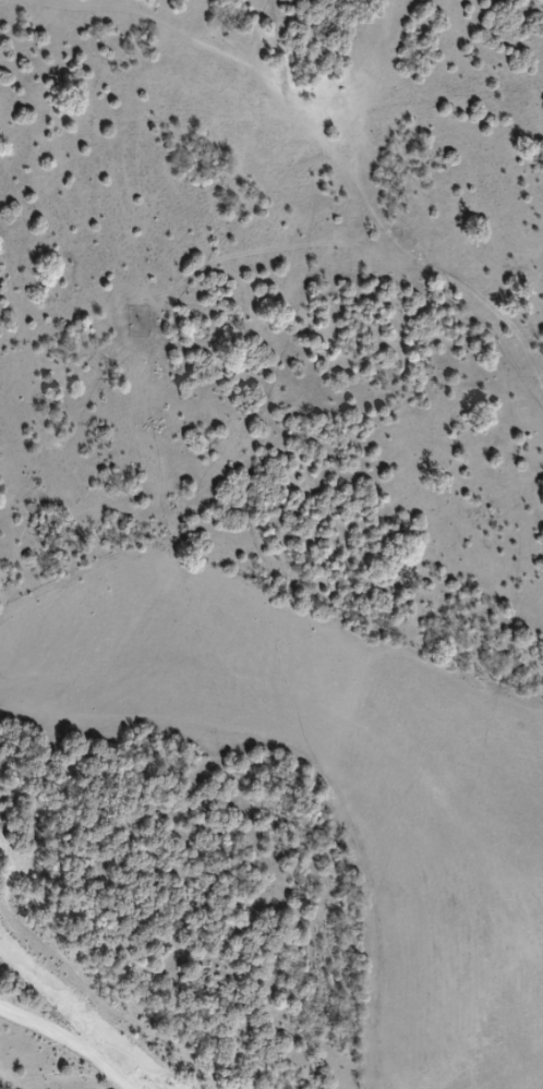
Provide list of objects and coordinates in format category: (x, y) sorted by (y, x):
road: (77, 1034)

